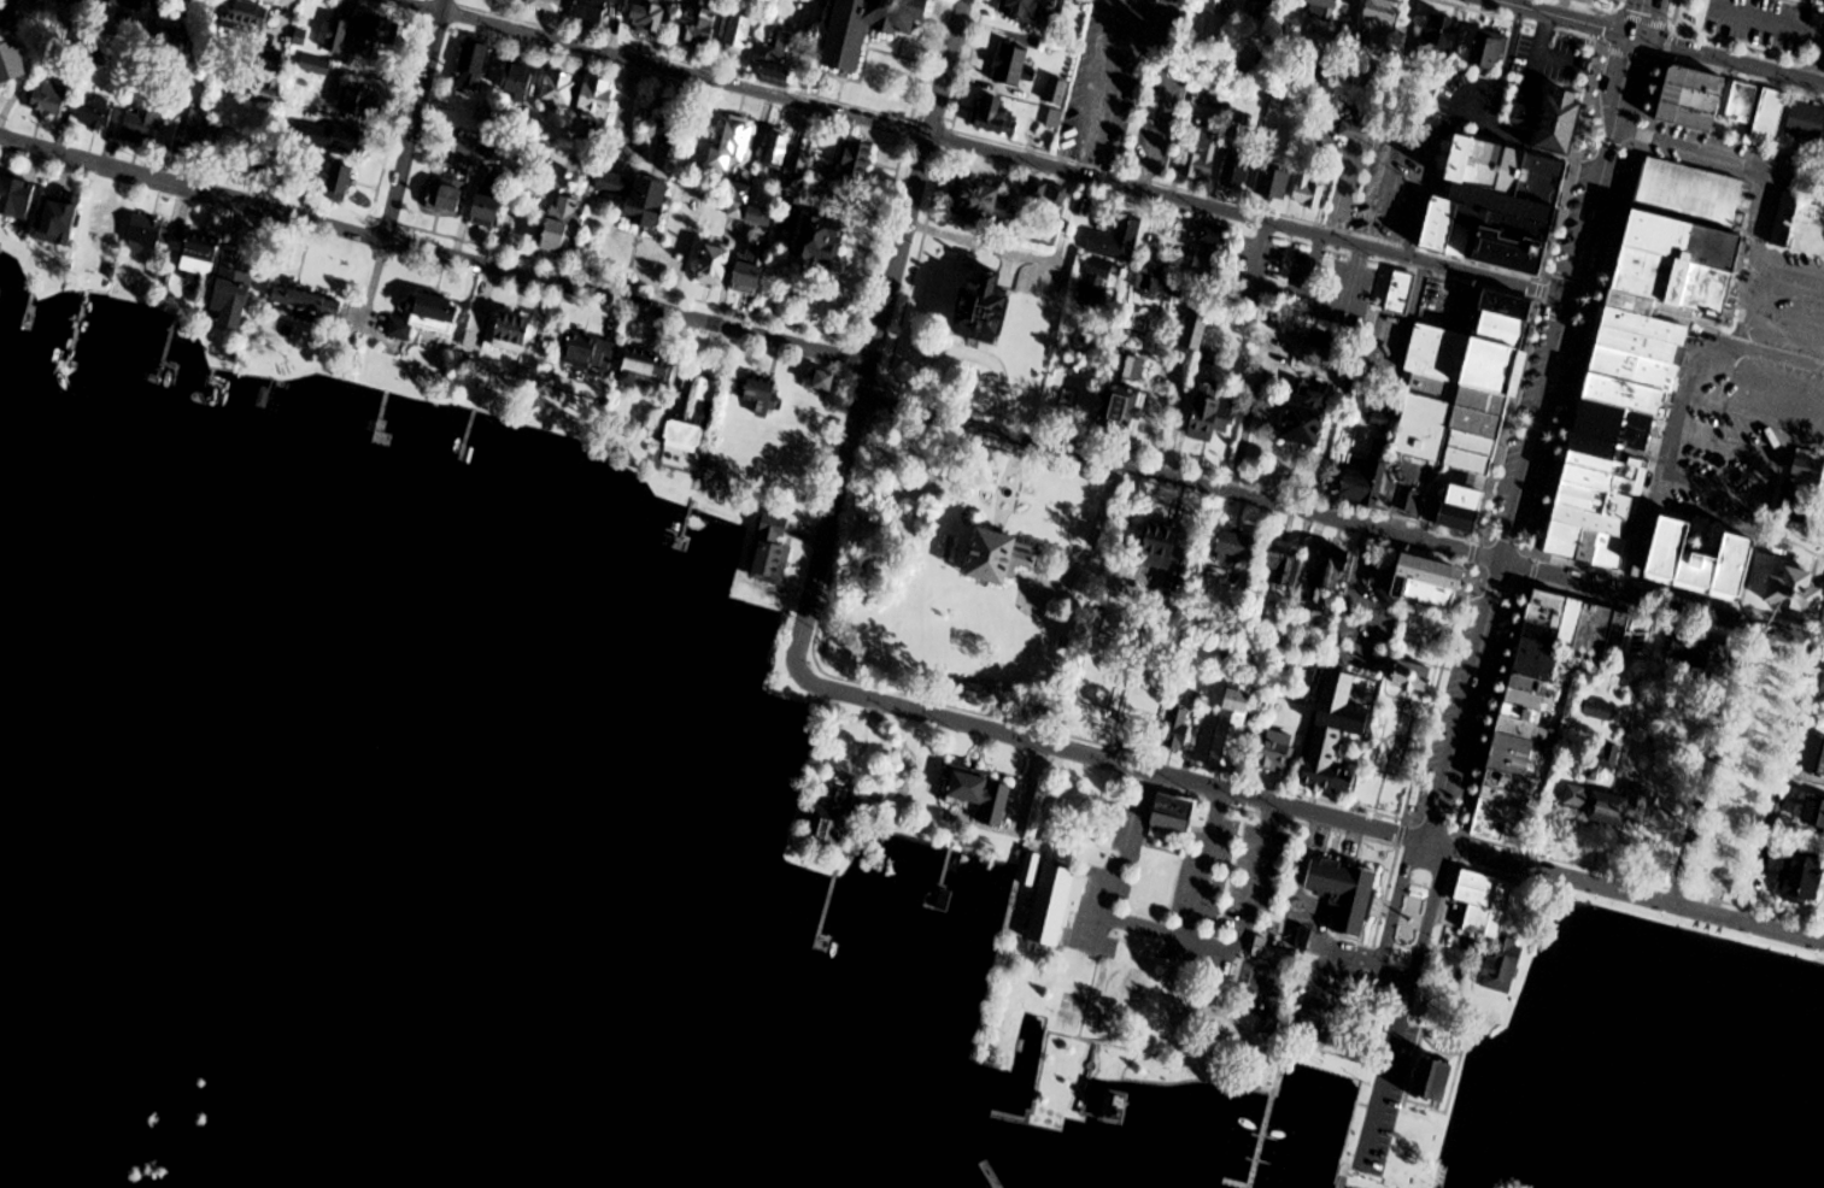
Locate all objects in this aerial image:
building: (90, 0)
building: (128, 4)
building: (549, 5)
building: (1215, 5)
road: (417, 6)
road: (442, 6)
building: (1259, 6)
building: (593, 10)
building: (1032, 11)
building: (1322, 11)
building: (7, 13)
building: (247, 16)
building: (649, 17)
road: (1559, 19)
road: (1641, 19)
building: (699, 24)
building: (1382, 24)
building: (872, 27)
building: (739, 33)
building: (363, 35)
building: (1443, 37)
building: (1488, 51)
building: (778, 55)
road: (1730, 61)
building: (12, 63)
building: (1011, 65)
building: (473, 66)
building: (520, 81)
building: (559, 89)
building: (1057, 92)
building: (47, 99)
building: (598, 99)
building: (1694, 99)
building: (359, 102)
building: (1742, 102)
building: (96, 112)
building: (995, 116)
building: (1769, 118)
building: (145, 120)
building: (1562, 122)
building: (1806, 122)
road: (412, 125)
building: (1356, 133)
building: (195, 134)
building: (669, 134)
building: (332, 137)
building: (733, 145)
building: (779, 149)
building: (468, 151)
building: (1203, 154)
road: (1004, 155)
building: (857, 161)
building: (799, 165)
building: (1511, 169)
road: (1602, 169)
building: (1236, 174)
building: (557, 176)
road: (916, 181)
building: (340, 183)
building: (614, 183)
building: (1275, 183)
road: (192, 189)
building: (1308, 192)
building: (446, 195)
building: (17, 196)
building: (492, 200)
building: (651, 202)
building: (984, 202)
building: (1784, 218)
building: (58, 219)
building: (107, 220)
building: (563, 224)
building: (148, 233)
building: (820, 240)
building: (1119, 240)
building: (200, 255)
building: (1212, 255)
building: (716, 261)
building: (752, 267)
building: (1097, 284)
building: (234, 289)
building: (1401, 292)
road: (627, 301)
building: (309, 305)
building: (989, 308)
building: (426, 317)
building: (1195, 330)
building: (510, 334)
building: (1325, 340)
building: (1646, 348)
building: (591, 352)
building: (647, 361)
road: (1687, 380)
building: (826, 382)
building: (1466, 387)
building: (758, 394)
building: (1125, 396)
building: (1213, 412)
building: (1308, 416)
building: (696, 419)
building: (1810, 470)
building: (1370, 480)
road: (1181, 483)
building: (1415, 504)
building: (1461, 510)
road: (832, 514)
road: (1089, 546)
building: (1166, 548)
building: (1236, 548)
building: (773, 551)
building: (1003, 558)
building: (1284, 561)
building: (1702, 561)
road: (1500, 570)
building: (1331, 574)
building: (1120, 578)
building: (1431, 582)
building: (1799, 592)
park: (1802, 598)
road: (1662, 605)
building: (1550, 610)
building: (1573, 624)
building: (1620, 630)
building: (1544, 634)
building: (1640, 637)
building: (1593, 640)
building: (1677, 646)
building: (1712, 657)
building: (1539, 660)
building: (1415, 678)
building: (1532, 687)
building: (1822, 692)
building: (1533, 701)
building: (1600, 710)
building: (1525, 714)
building: (1232, 727)
building: (1178, 729)
building: (1525, 731)
building: (1336, 734)
building: (1275, 751)
building: (1514, 755)
building: (1816, 757)
road: (1109, 761)
road: (1709, 765)
road: (1785, 774)
building: (1513, 783)
building: (983, 792)
building: (1507, 798)
building: (1612, 805)
building: (1499, 810)
building: (1174, 811)
building: (1814, 814)
building: (837, 817)
building: (1491, 827)
road: (1120, 863)
road: (1203, 864)
building: (1031, 869)
building: (1806, 874)
pier: (943, 876)
building: (1342, 888)
road: (1627, 892)
building: (1484, 901)
building: (1056, 902)
pier: (828, 908)
road: (1391, 918)
road: (1237, 943)
building: (1275, 952)
building: (1075, 988)
road: (1406, 1005)
park: (1419, 1030)
building: (1436, 1078)
river: (52, 1115)
pier: (1013, 1117)
pier: (1259, 1148)
pier: (990, 1175)
pier: (1343, 1175)

